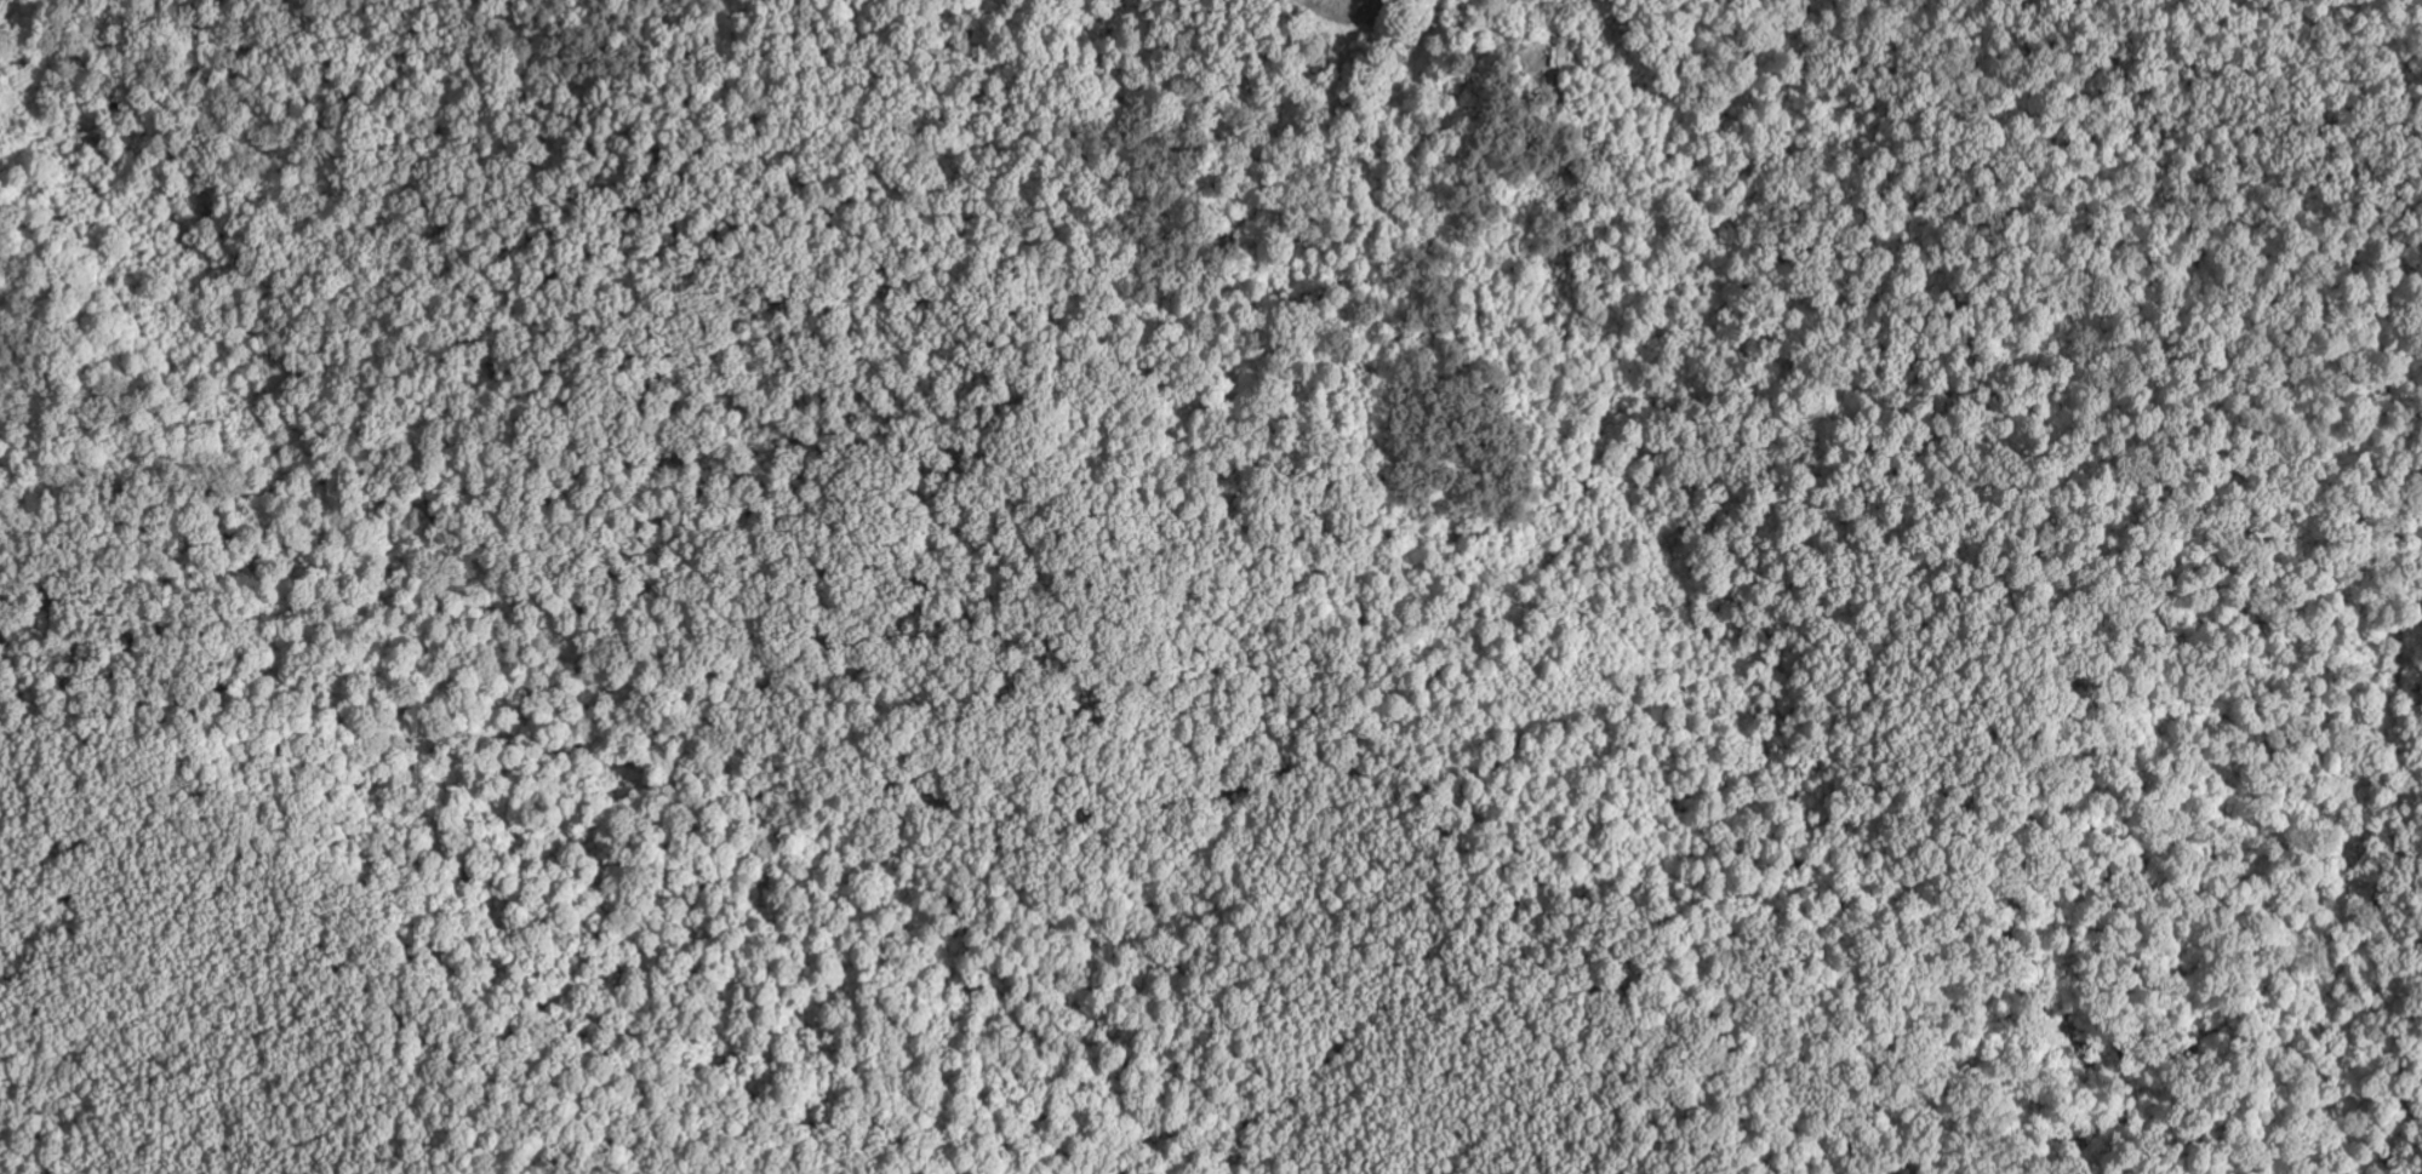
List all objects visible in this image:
road: (1420, 1)

